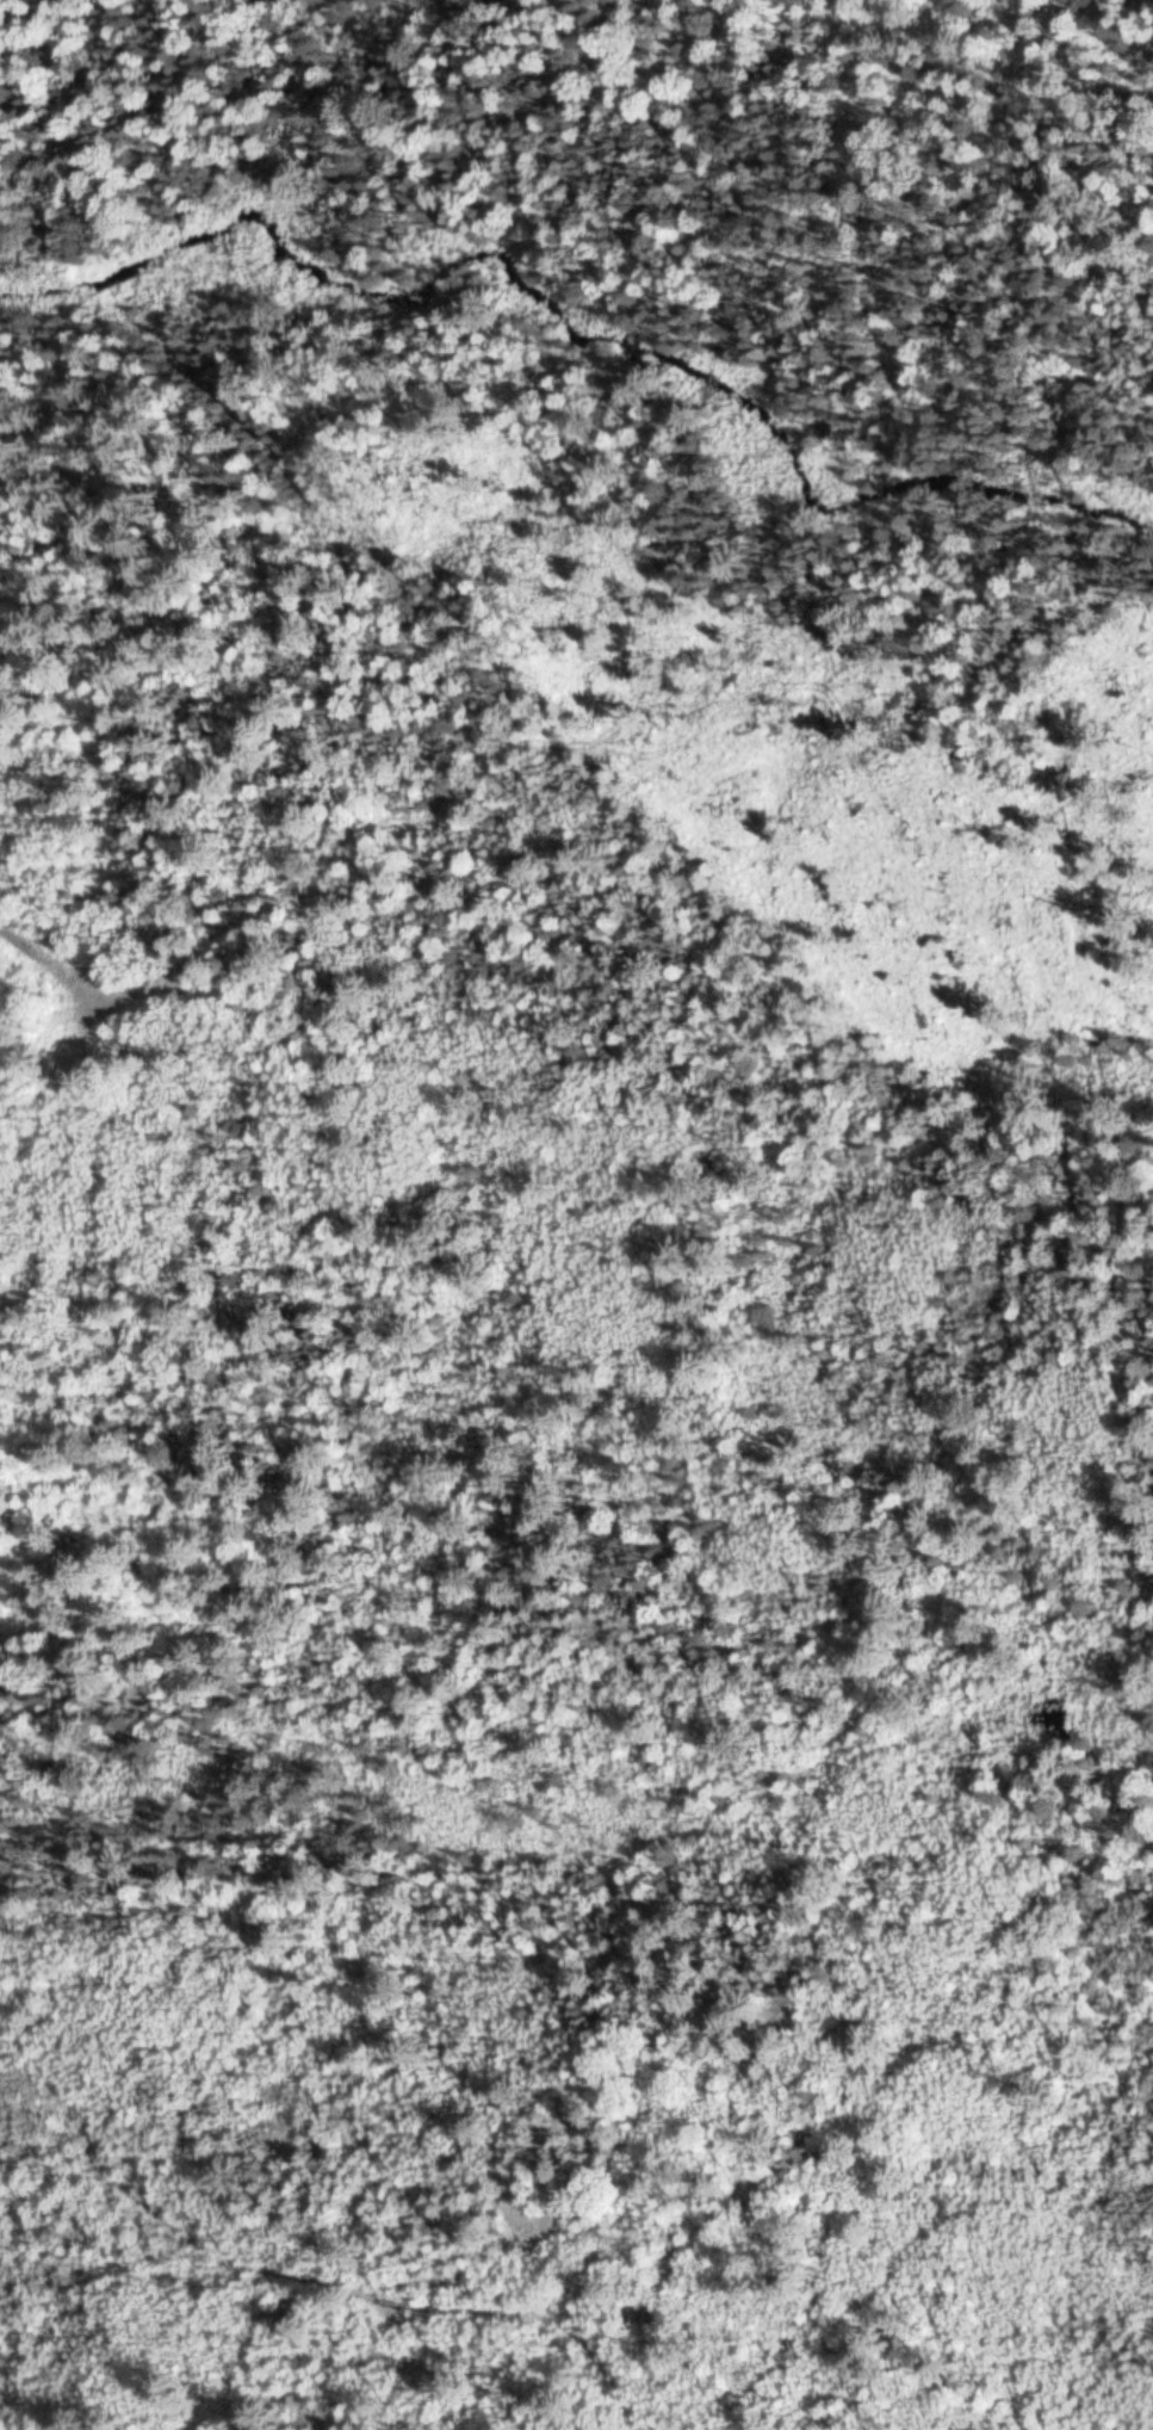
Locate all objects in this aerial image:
road: (336, 2280)

